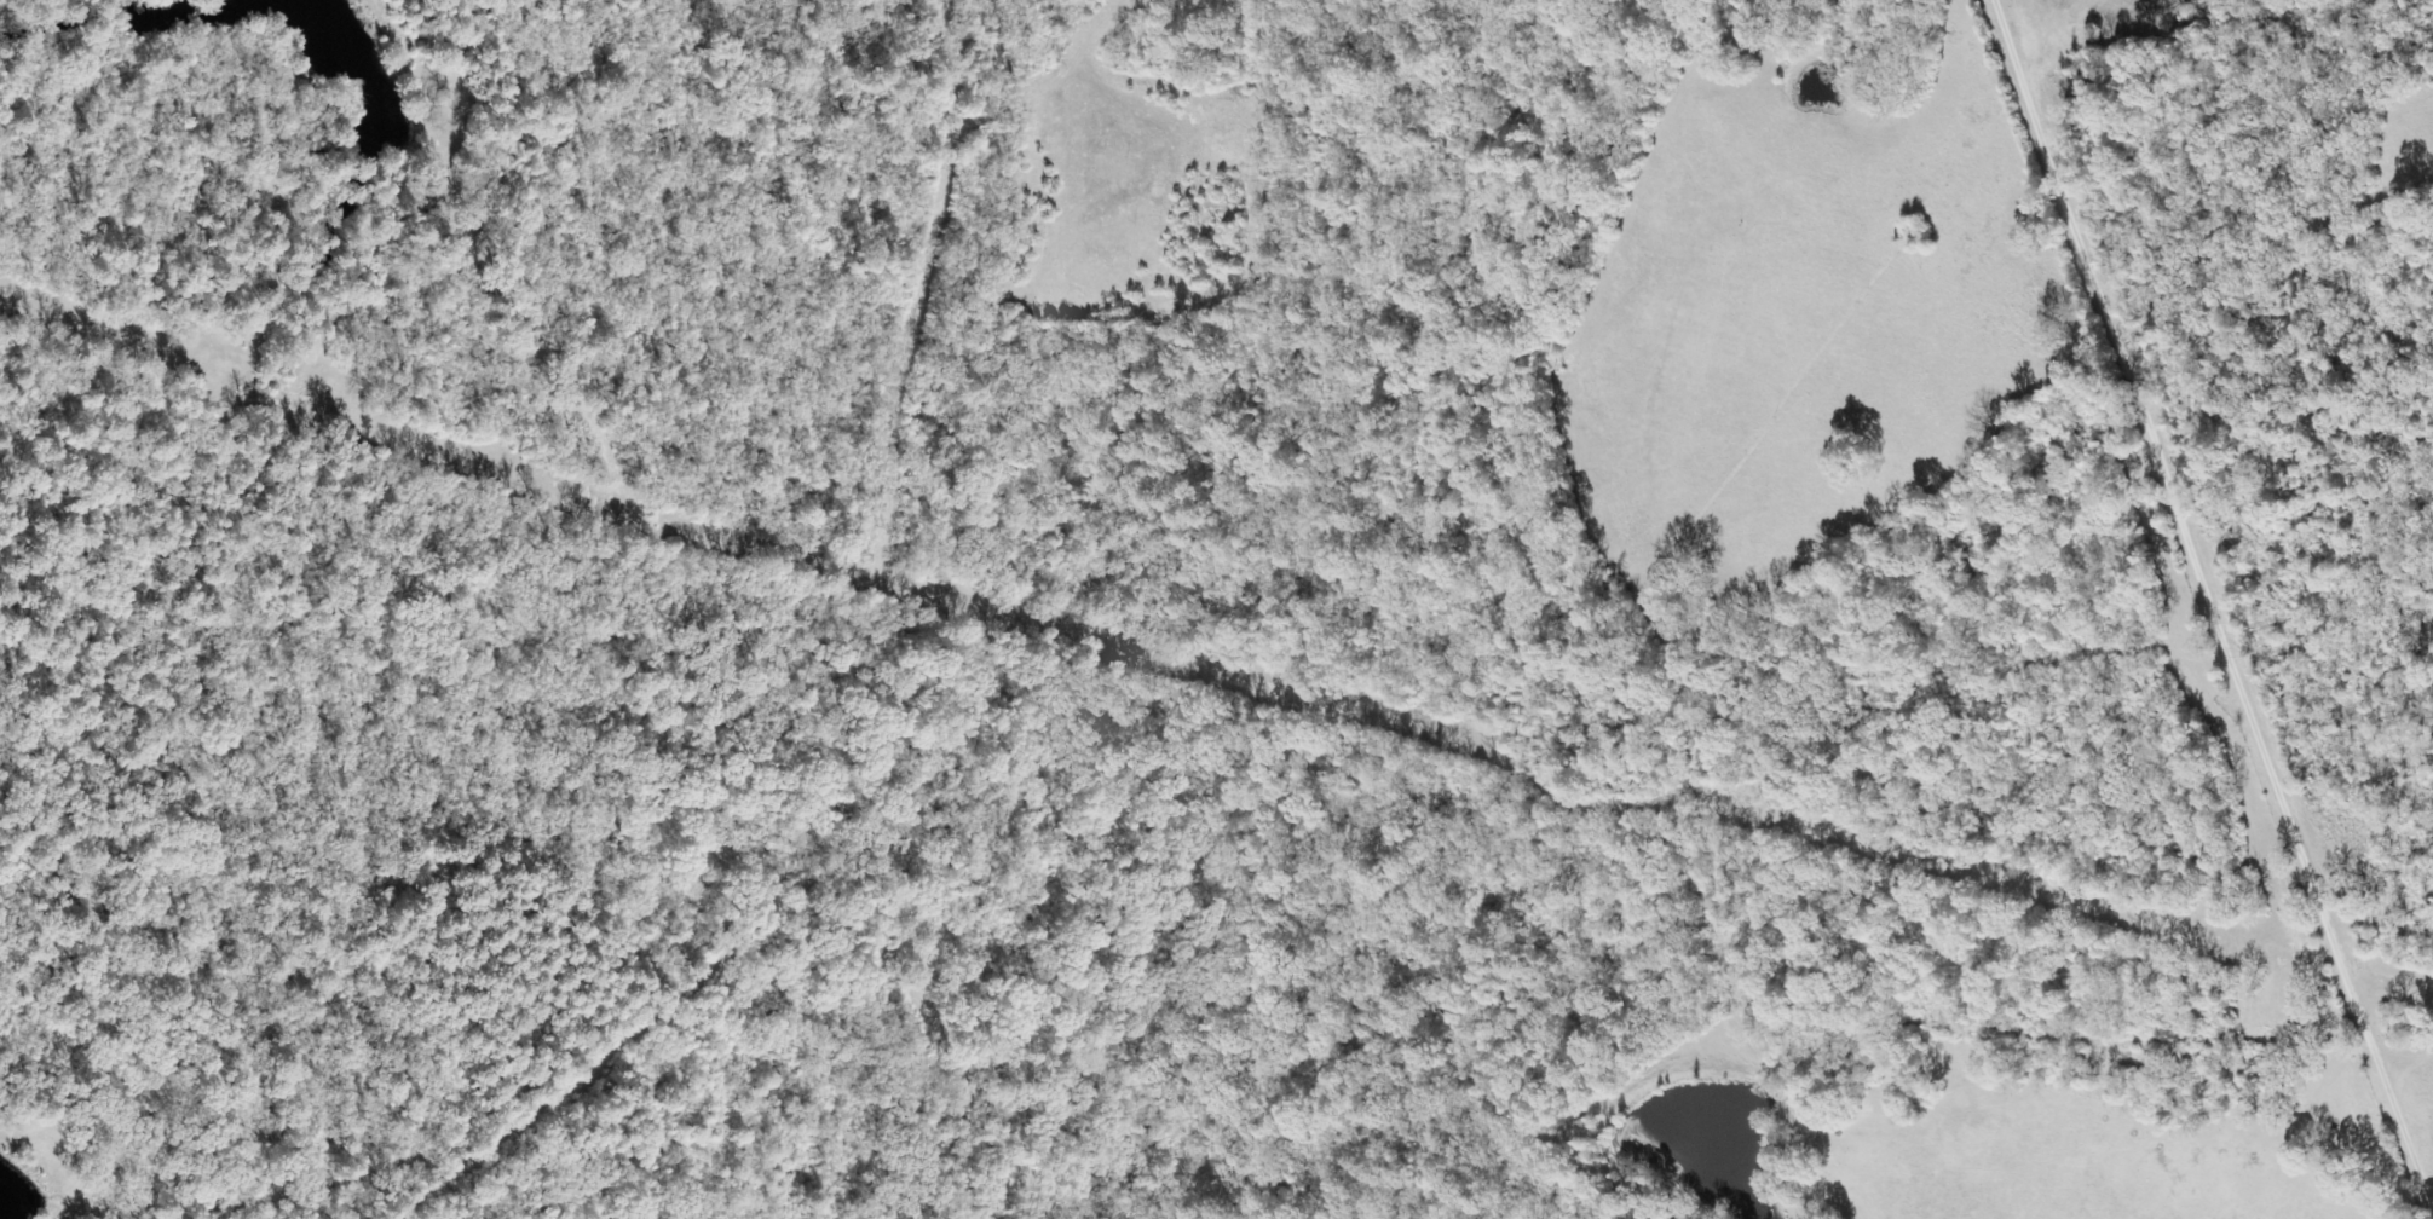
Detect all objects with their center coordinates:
road: (1937, 624)

